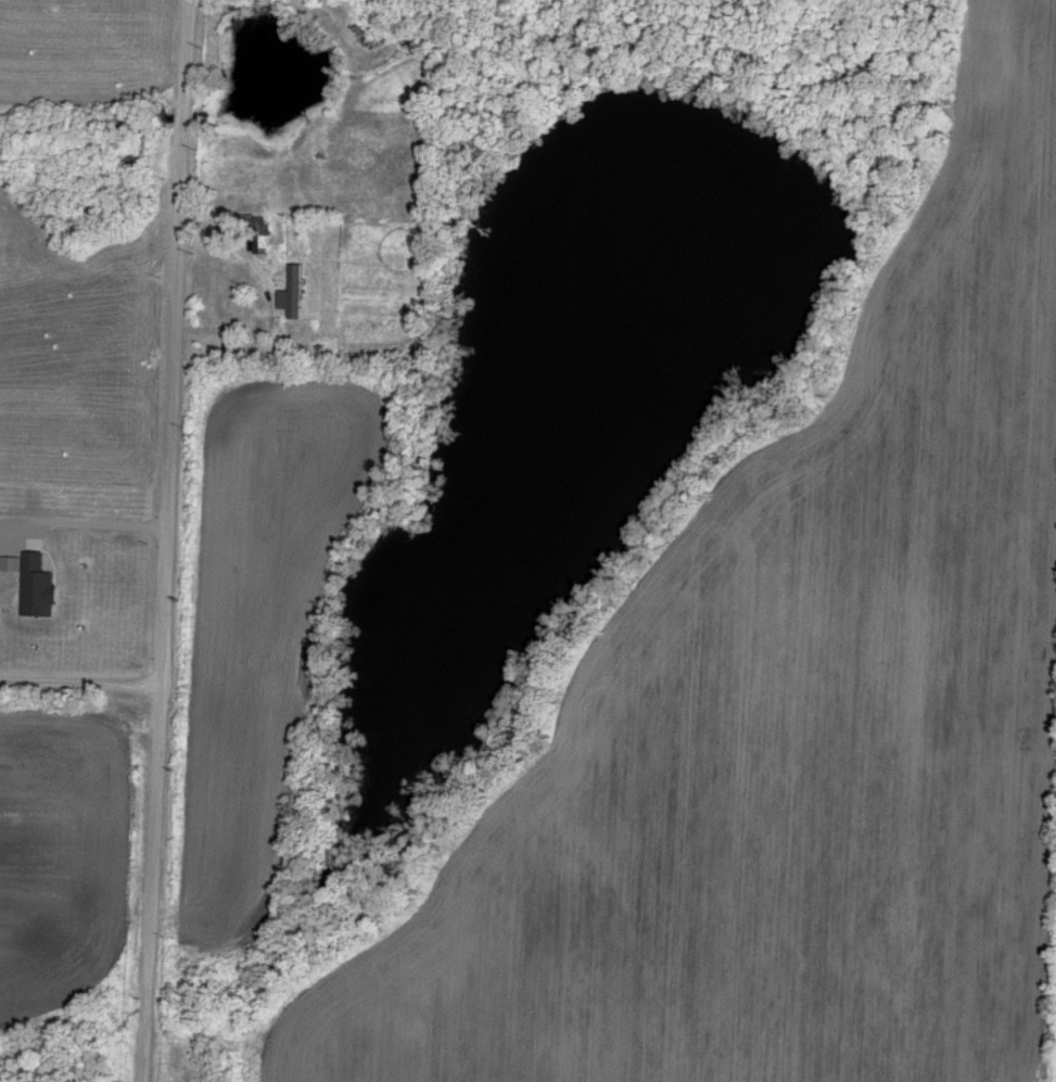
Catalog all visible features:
building: (259, 236)
building: (294, 296)
road: (165, 540)
road: (79, 684)

